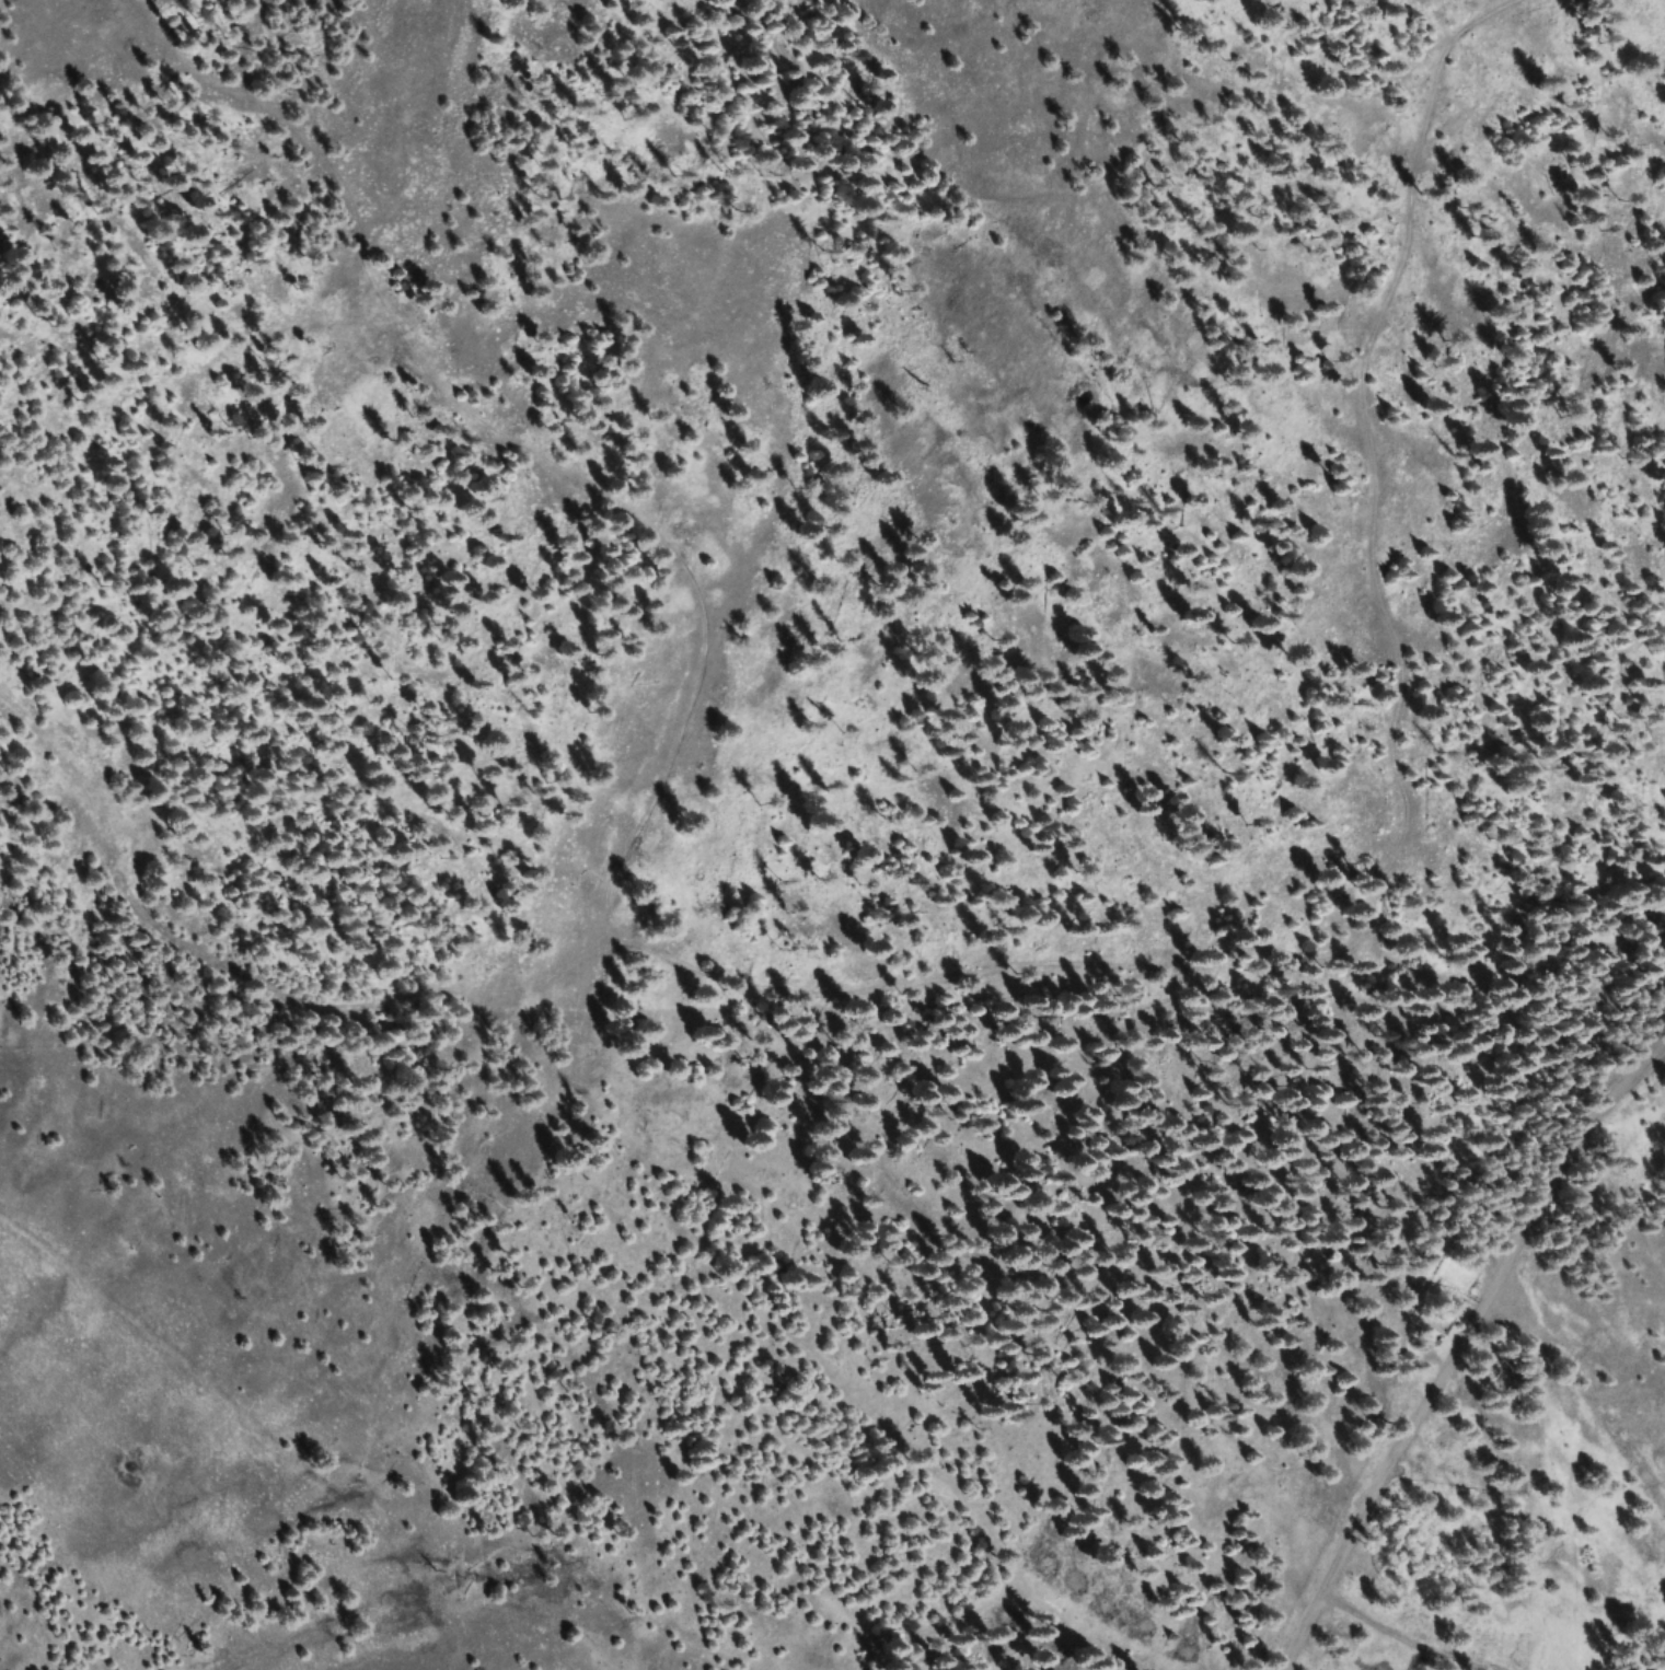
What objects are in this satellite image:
road: (1517, 1437)

